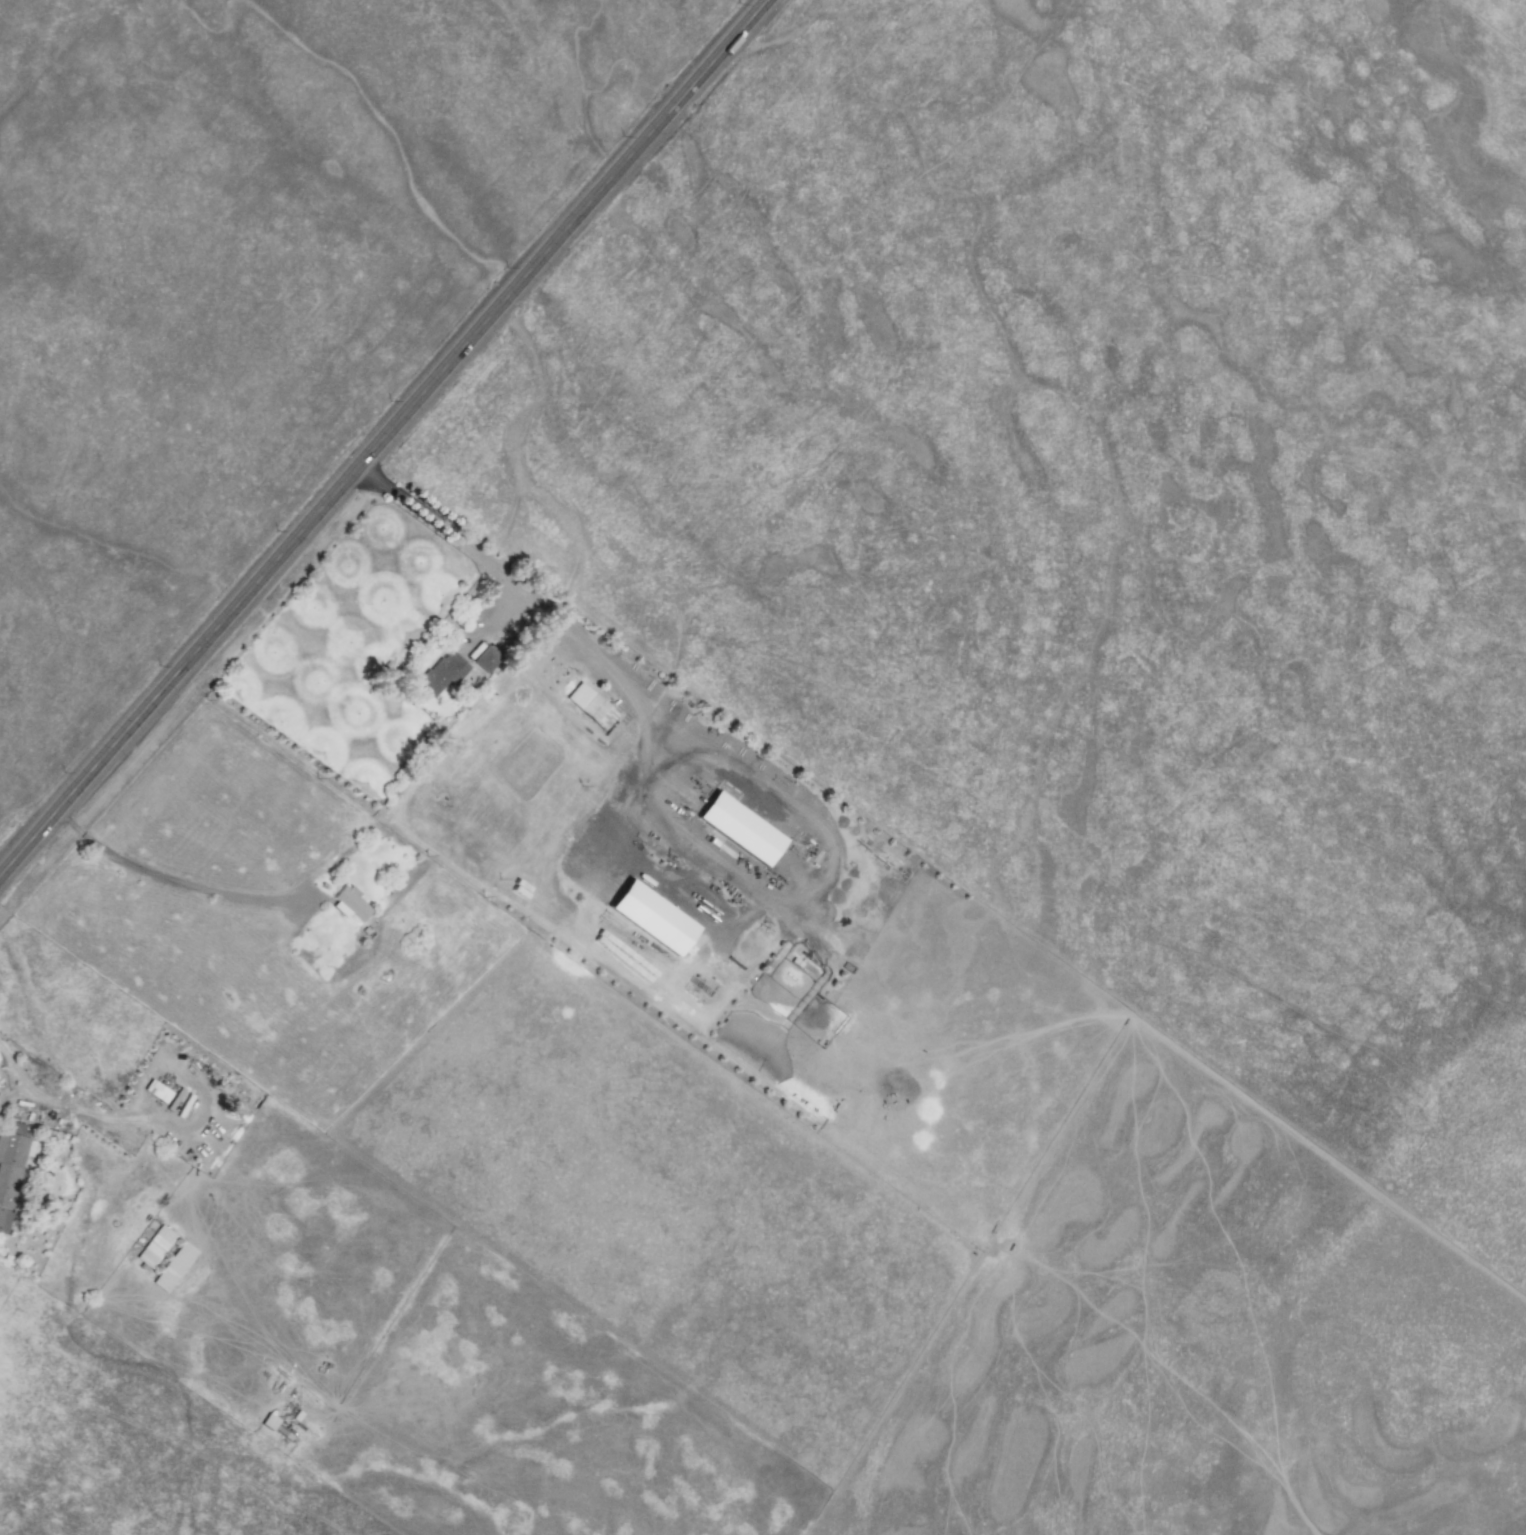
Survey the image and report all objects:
road: (389, 443)
building: (486, 659)
building: (443, 673)
building: (590, 706)
road: (646, 814)
building: (739, 829)
road: (174, 882)
building: (350, 903)
building: (651, 918)
road: (200, 1086)
building: (155, 1090)
road: (17, 1094)
road: (50, 1100)
building: (11, 1169)
building: (155, 1247)
building: (174, 1267)
building: (269, 1422)

